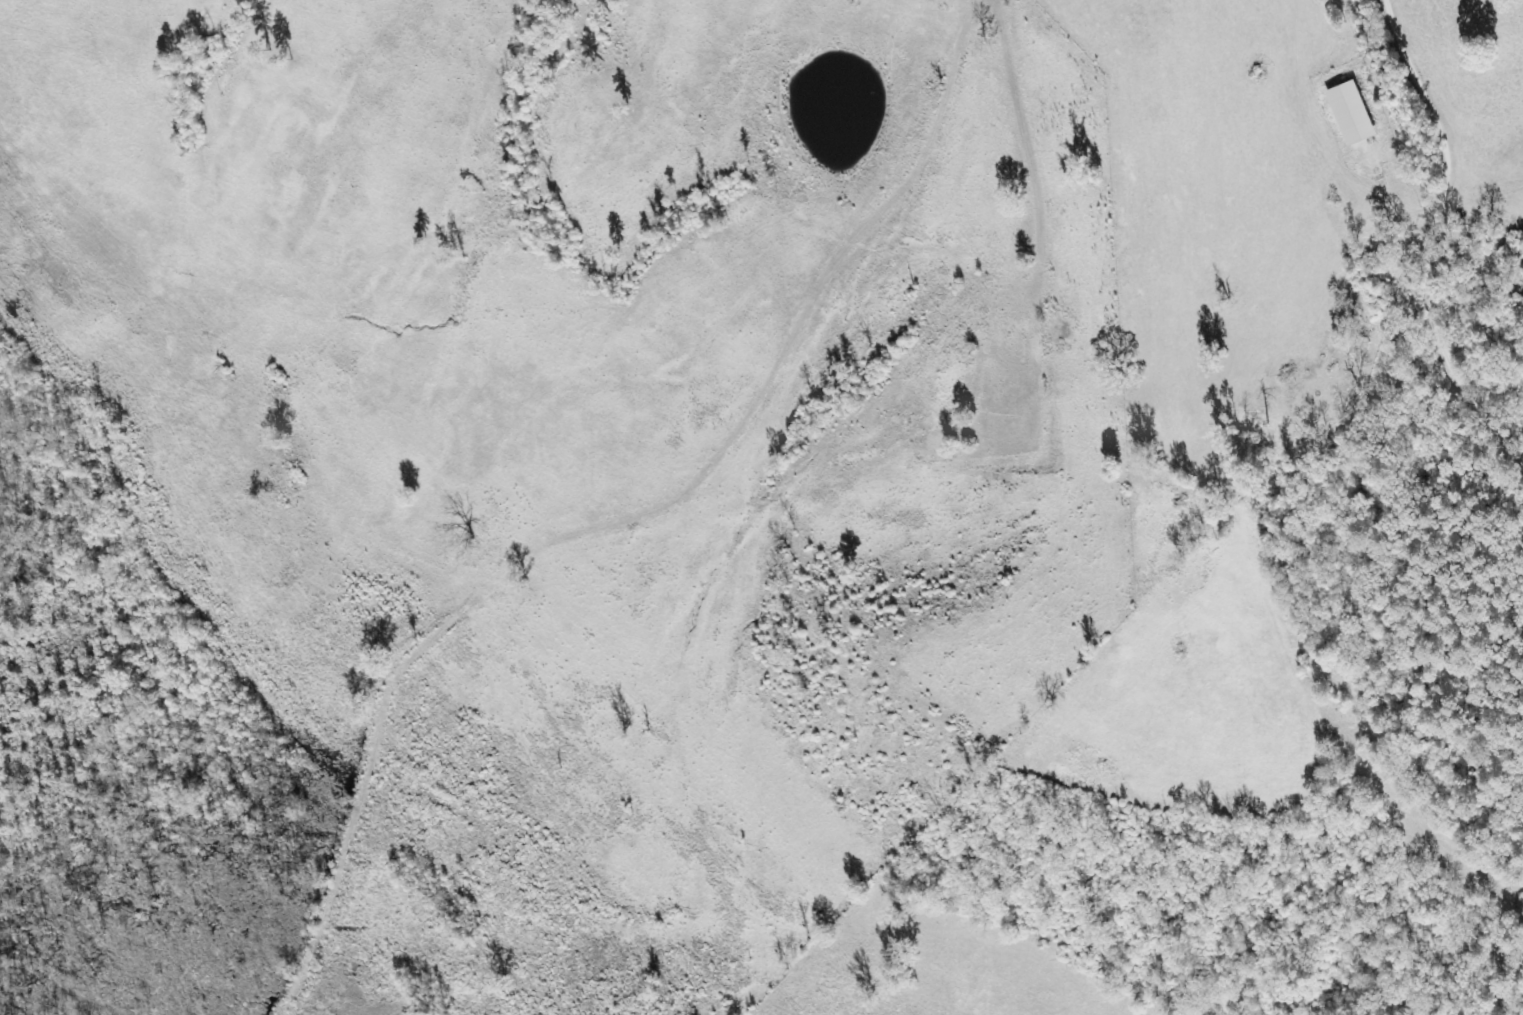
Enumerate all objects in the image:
road: (1031, 10)

